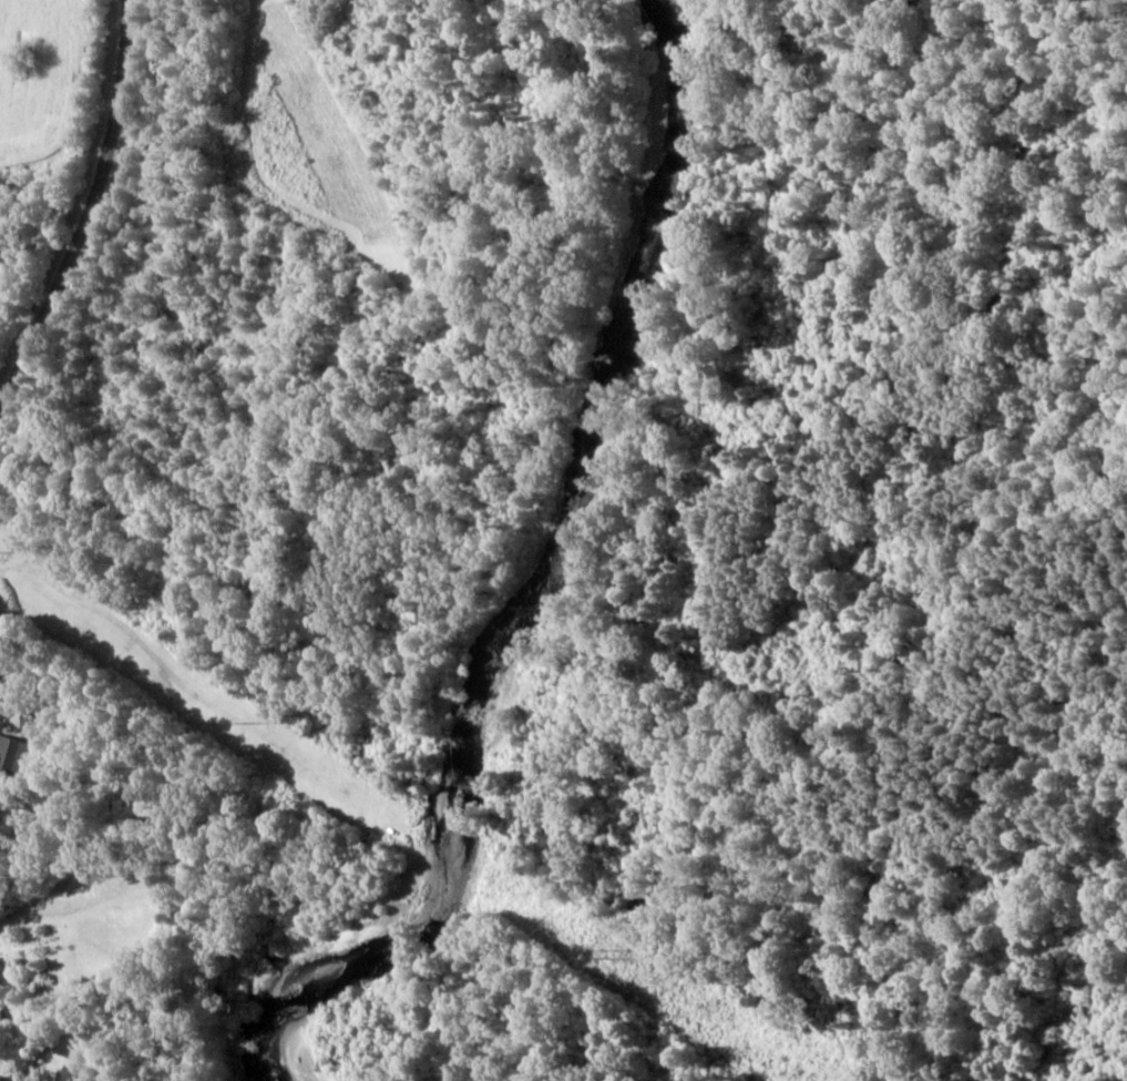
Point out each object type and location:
road: (92, 278)
building: (22, 749)
building: (12, 1077)

